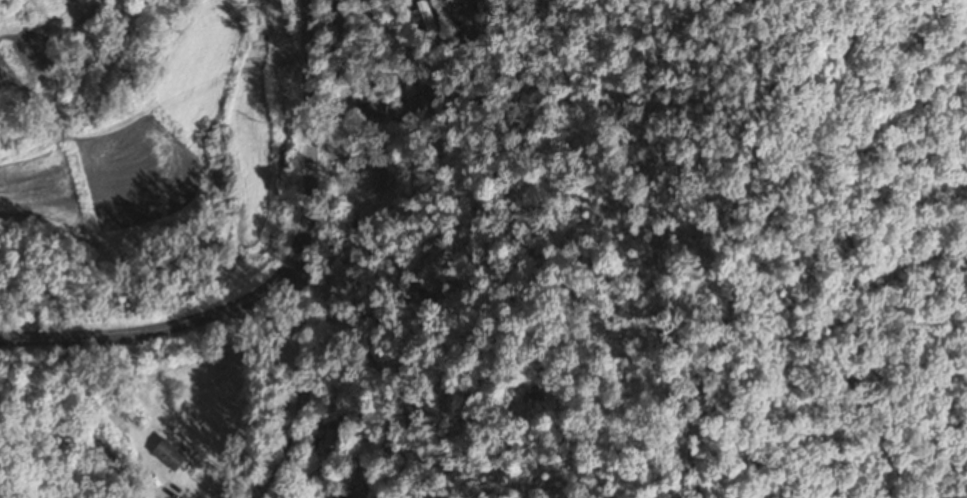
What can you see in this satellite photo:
building: (428, 19)
road: (272, 282)
road: (255, 399)
building: (168, 455)
building: (343, 494)

